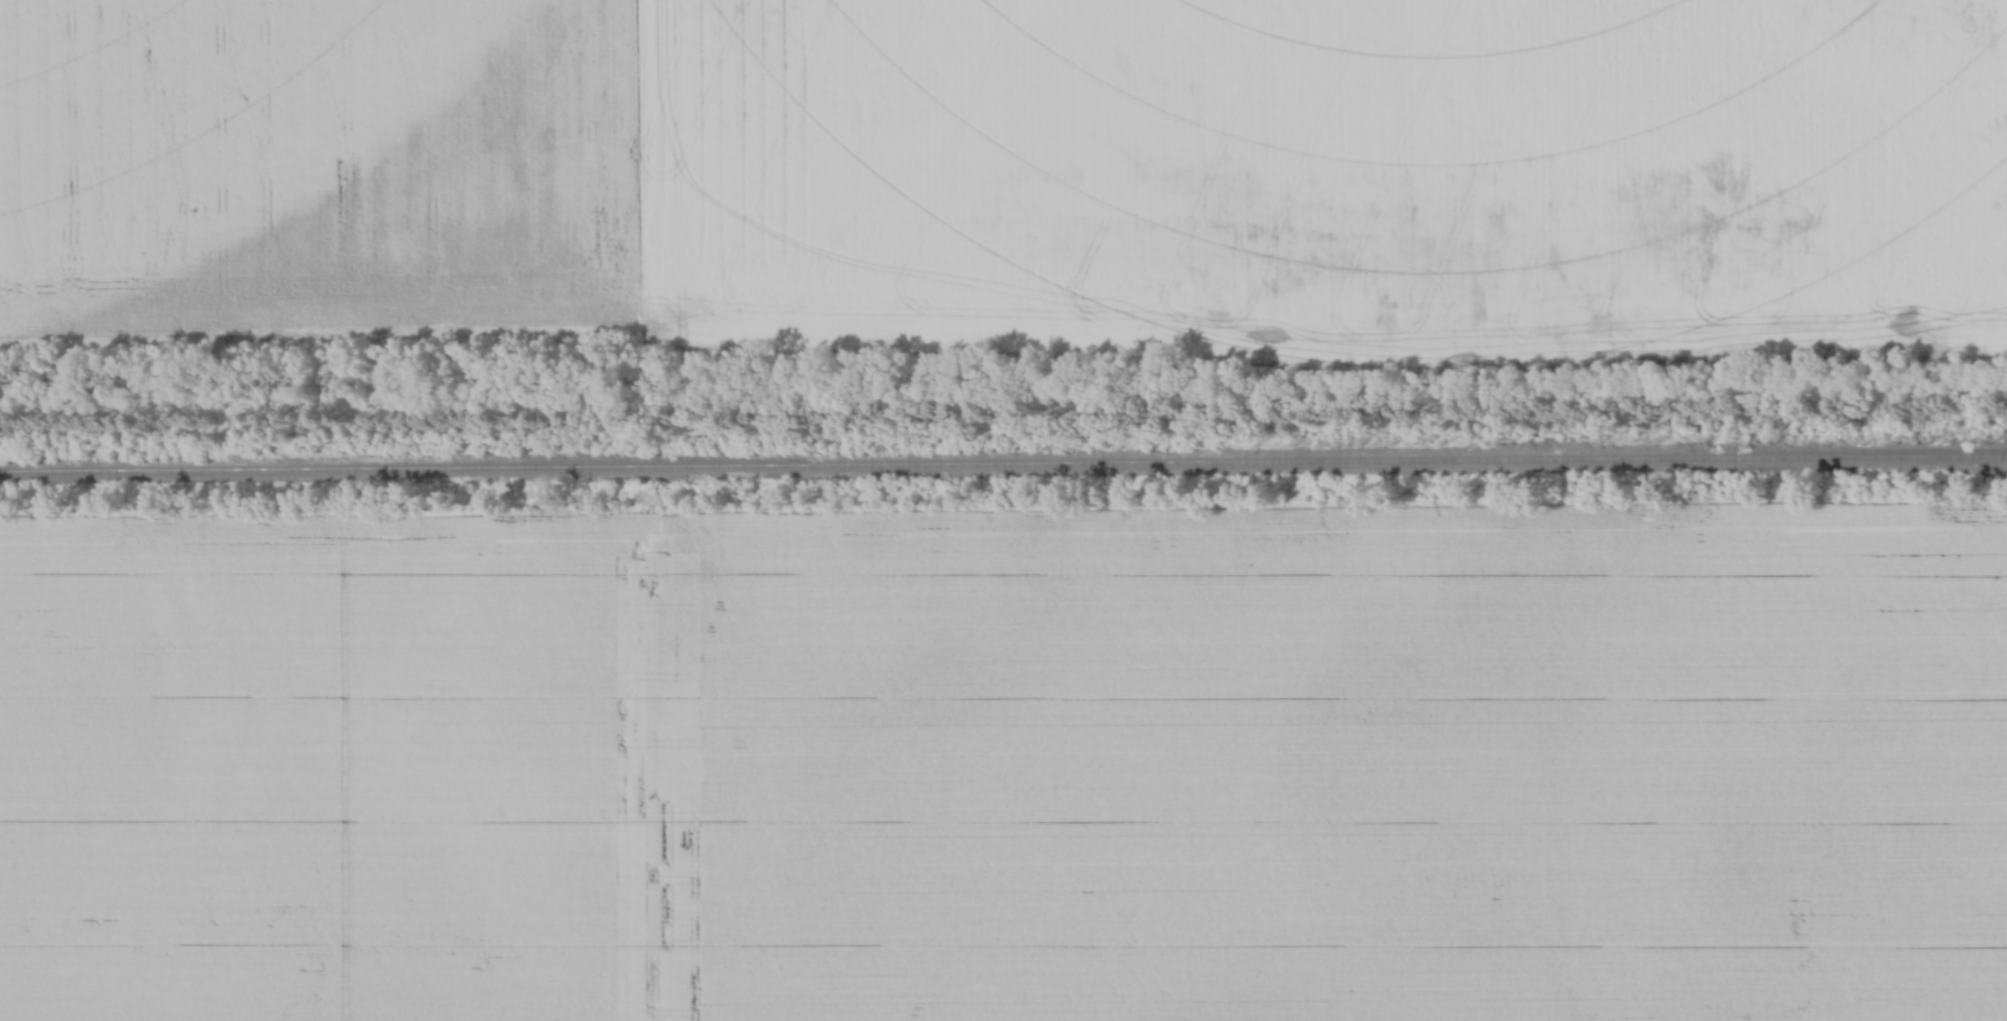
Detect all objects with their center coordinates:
railway: (1003, 465)

